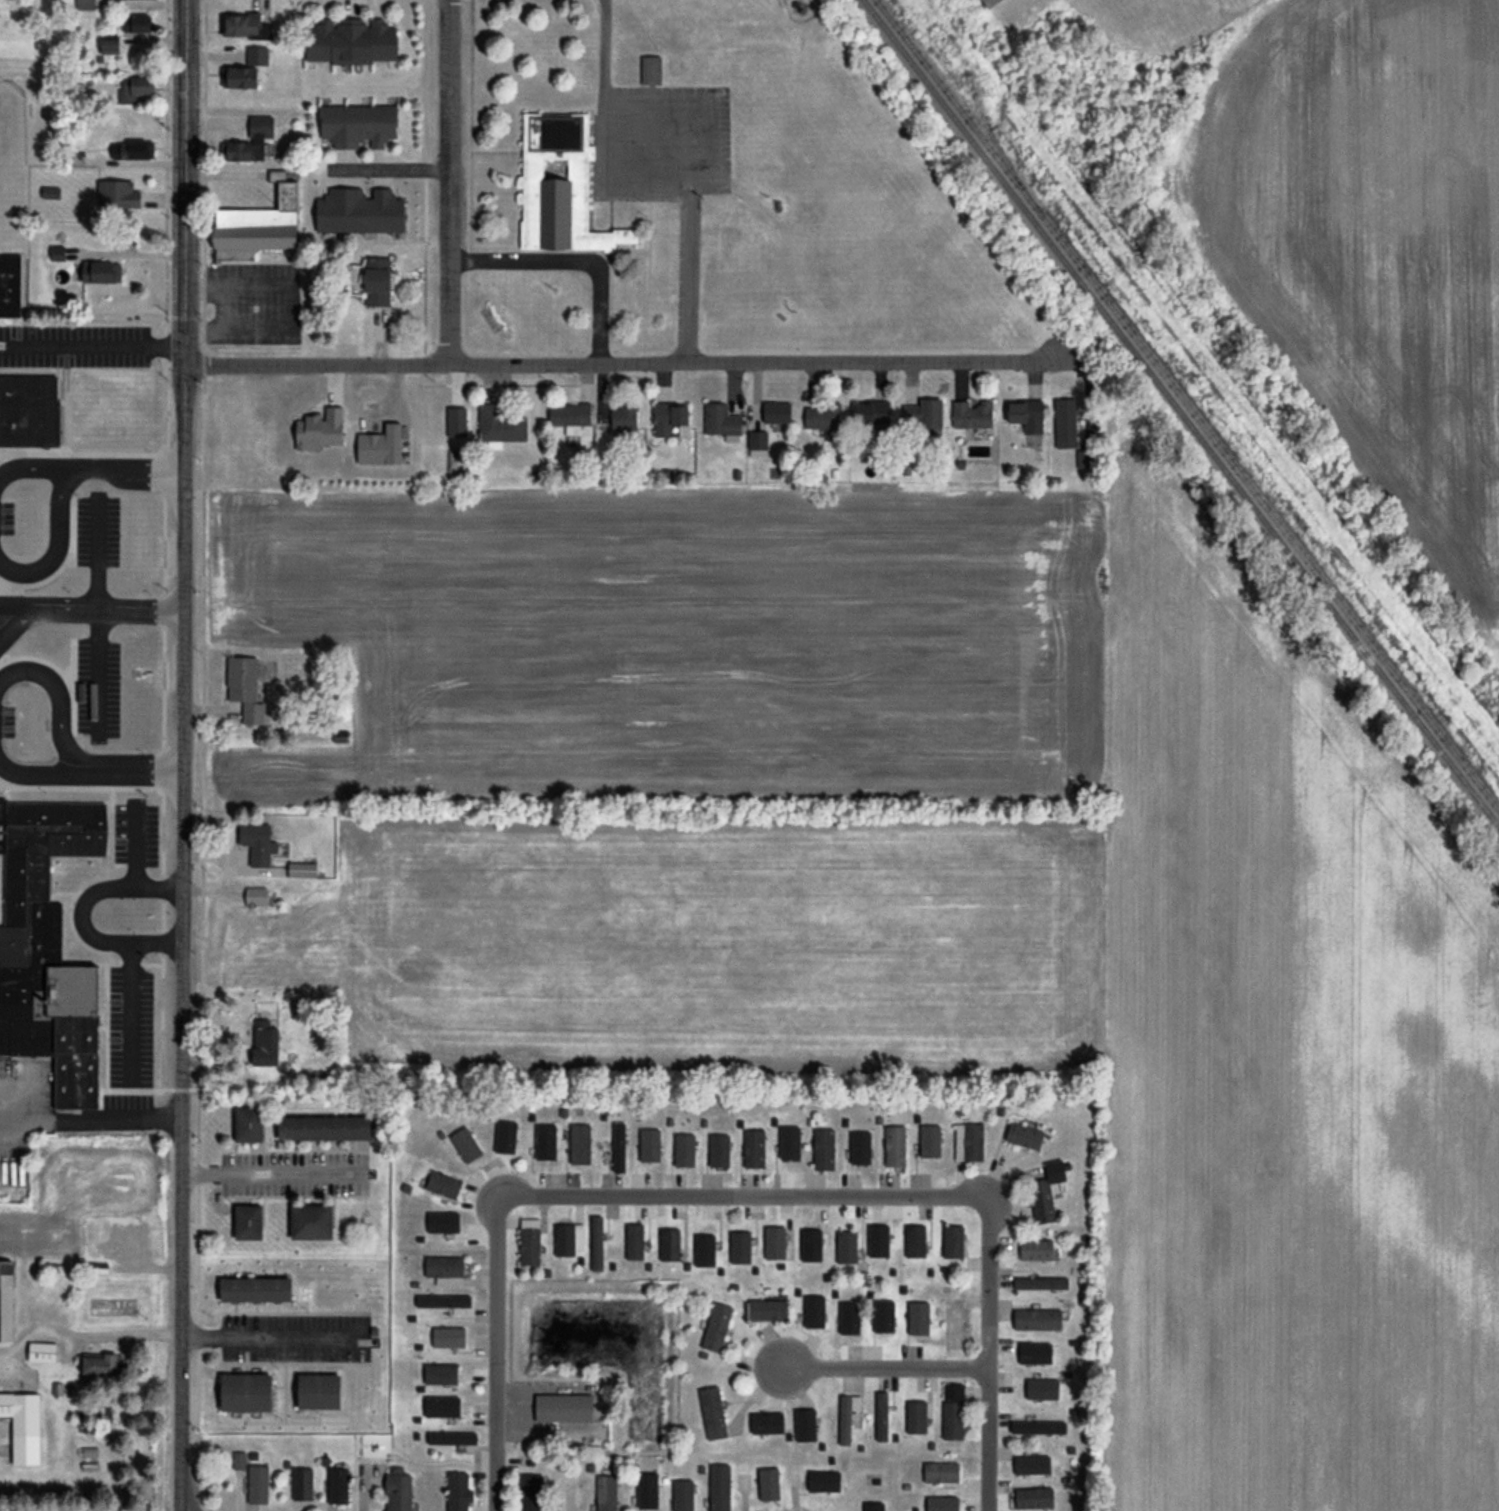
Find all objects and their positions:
building: (144, 0)
building: (992, 3)
building: (86, 4)
building: (137, 23)
building: (248, 26)
building: (351, 41)
road: (604, 42)
building: (110, 47)
building: (257, 55)
building: (652, 70)
building: (240, 77)
building: (135, 88)
road: (666, 107)
building: (358, 125)
road: (470, 125)
building: (259, 139)
parking lot: (661, 142)
building: (133, 150)
road: (389, 167)
road: (686, 180)
road: (424, 182)
road: (448, 182)
building: (561, 187)
building: (51, 192)
building: (118, 194)
building: (258, 225)
building: (58, 254)
road: (572, 260)
building: (103, 272)
road: (688, 272)
building: (378, 281)
building: (10, 285)
parking lot: (253, 304)
road: (183, 316)
parking lot: (73, 345)
road: (92, 346)
road: (622, 364)
railway: (1187, 407)
building: (29, 411)
building: (777, 412)
building: (872, 412)
building: (925, 414)
building: (973, 415)
building: (1027, 415)
railway: (1179, 415)
building: (822, 416)
building: (670, 417)
building: (570, 418)
building: (625, 420)
building: (721, 420)
building: (1066, 422)
building: (500, 427)
building: (758, 440)
building: (1087, 459)
road: (120, 462)
road: (54, 508)
road: (163, 552)
road: (91, 602)
road: (22, 622)
road: (5, 635)
building: (249, 684)
parking lot: (97, 742)
road: (73, 752)
road: (184, 755)
road: (201, 757)
road: (142, 765)
building: (258, 843)
road: (133, 845)
building: (302, 870)
road: (80, 911)
building: (250, 912)
building: (48, 950)
road: (128, 1008)
building: (265, 1042)
crop: (1282, 1063)
road: (121, 1117)
building: (250, 1123)
building: (325, 1127)
building: (1025, 1136)
building: (970, 1141)
building: (466, 1144)
building: (580, 1144)
building: (895, 1145)
building: (545, 1146)
building: (619, 1146)
building: (650, 1147)
building: (861, 1147)
building: (755, 1148)
building: (825, 1148)
building: (685, 1149)
building: (720, 1150)
parking lot: (293, 1173)
road: (269, 1175)
building: (444, 1184)
building: (1046, 1191)
road: (743, 1197)
building: (250, 1221)
building: (313, 1221)
building: (568, 1238)
building: (880, 1239)
building: (530, 1241)
building: (635, 1241)
building: (915, 1241)
building: (953, 1241)
building: (811, 1242)
building: (596, 1243)
building: (670, 1244)
building: (132, 1245)
building: (740, 1246)
building: (846, 1246)
building: (1035, 1250)
building: (445, 1269)
building: (57, 1270)
building: (1041, 1284)
building: (256, 1289)
building: (7, 1299)
building: (448, 1301)
building: (768, 1310)
building: (854, 1312)
building: (884, 1317)
building: (918, 1317)
building: (1038, 1318)
building: (717, 1327)
building: (956, 1328)
road: (84, 1336)
road: (267, 1337)
building: (448, 1337)
parking lot: (295, 1338)
building: (43, 1352)
building: (1035, 1353)
road: (495, 1355)
road: (987, 1358)
building: (102, 1366)
road: (886, 1370)
building: (441, 1373)
building: (319, 1391)
building: (248, 1392)
building: (448, 1407)
building: (565, 1408)
building: (953, 1411)
building: (713, 1412)
building: (848, 1416)
building: (881, 1416)
building: (916, 1417)
building: (765, 1423)
building: (24, 1425)
building: (805, 1426)
building: (1038, 1427)
building: (452, 1438)
building: (239, 1460)
building: (1032, 1464)
building: (941, 1472)
building: (822, 1478)
building: (743, 1481)
building: (768, 1483)
building: (258, 1484)
building: (302, 1484)
building: (337, 1485)
building: (719, 1488)
building: (398, 1490)
building: (458, 1492)
building: (607, 1493)
building: (570, 1494)
building: (683, 1496)
building: (1031, 1498)
building: (941, 1504)

